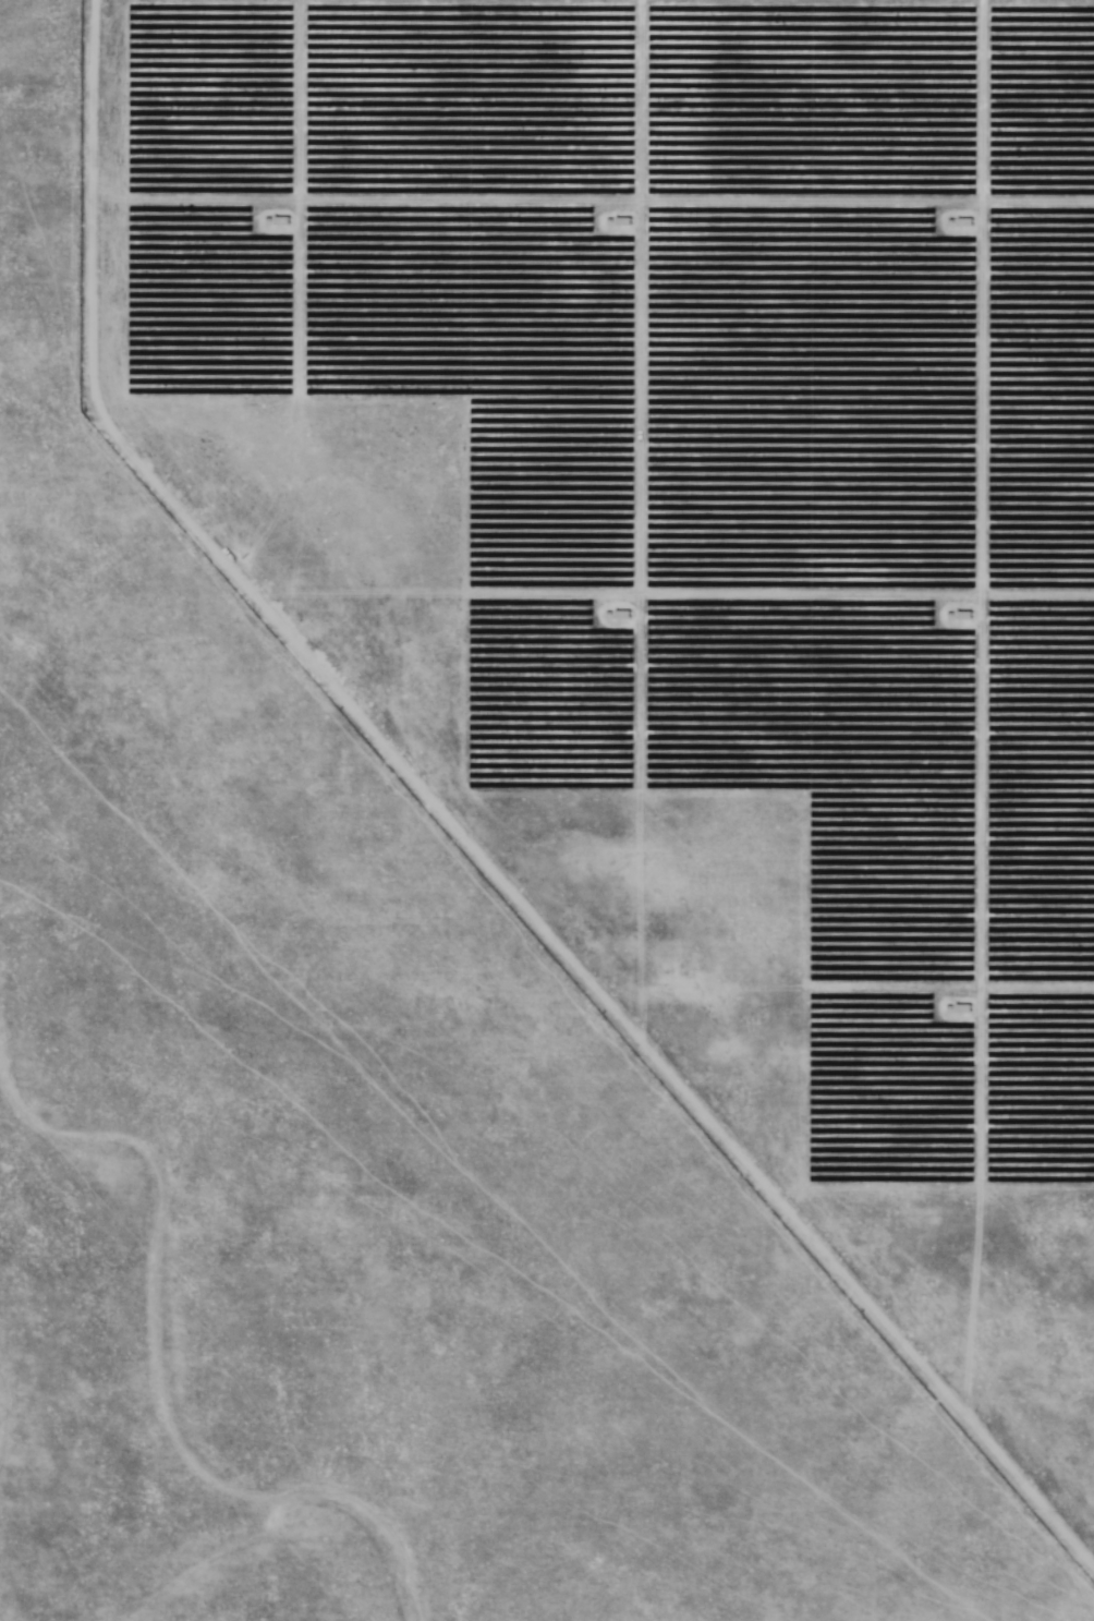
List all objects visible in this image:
road: (547, 34)
solar farm: (547, 810)

